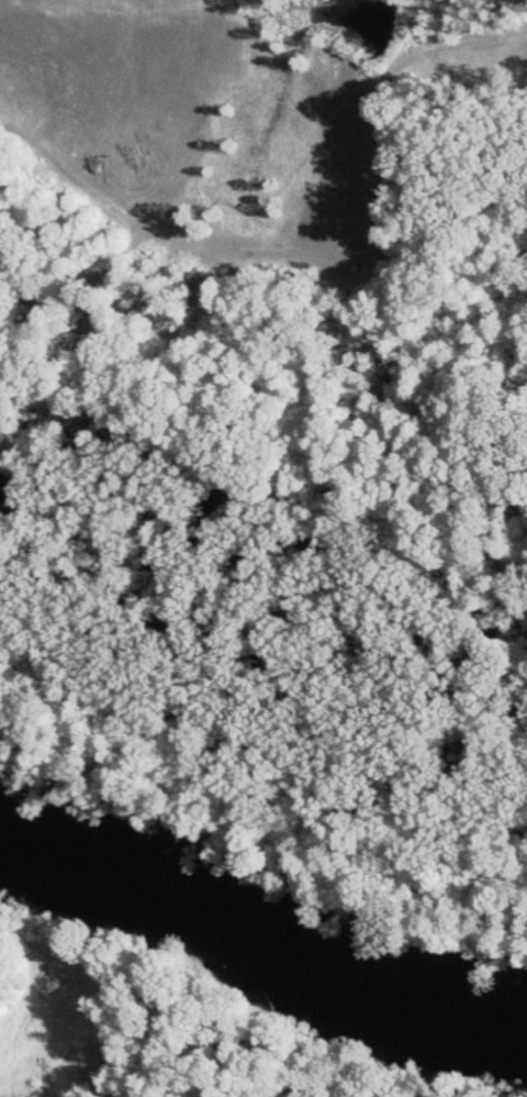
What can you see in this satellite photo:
river: (260, 943)

